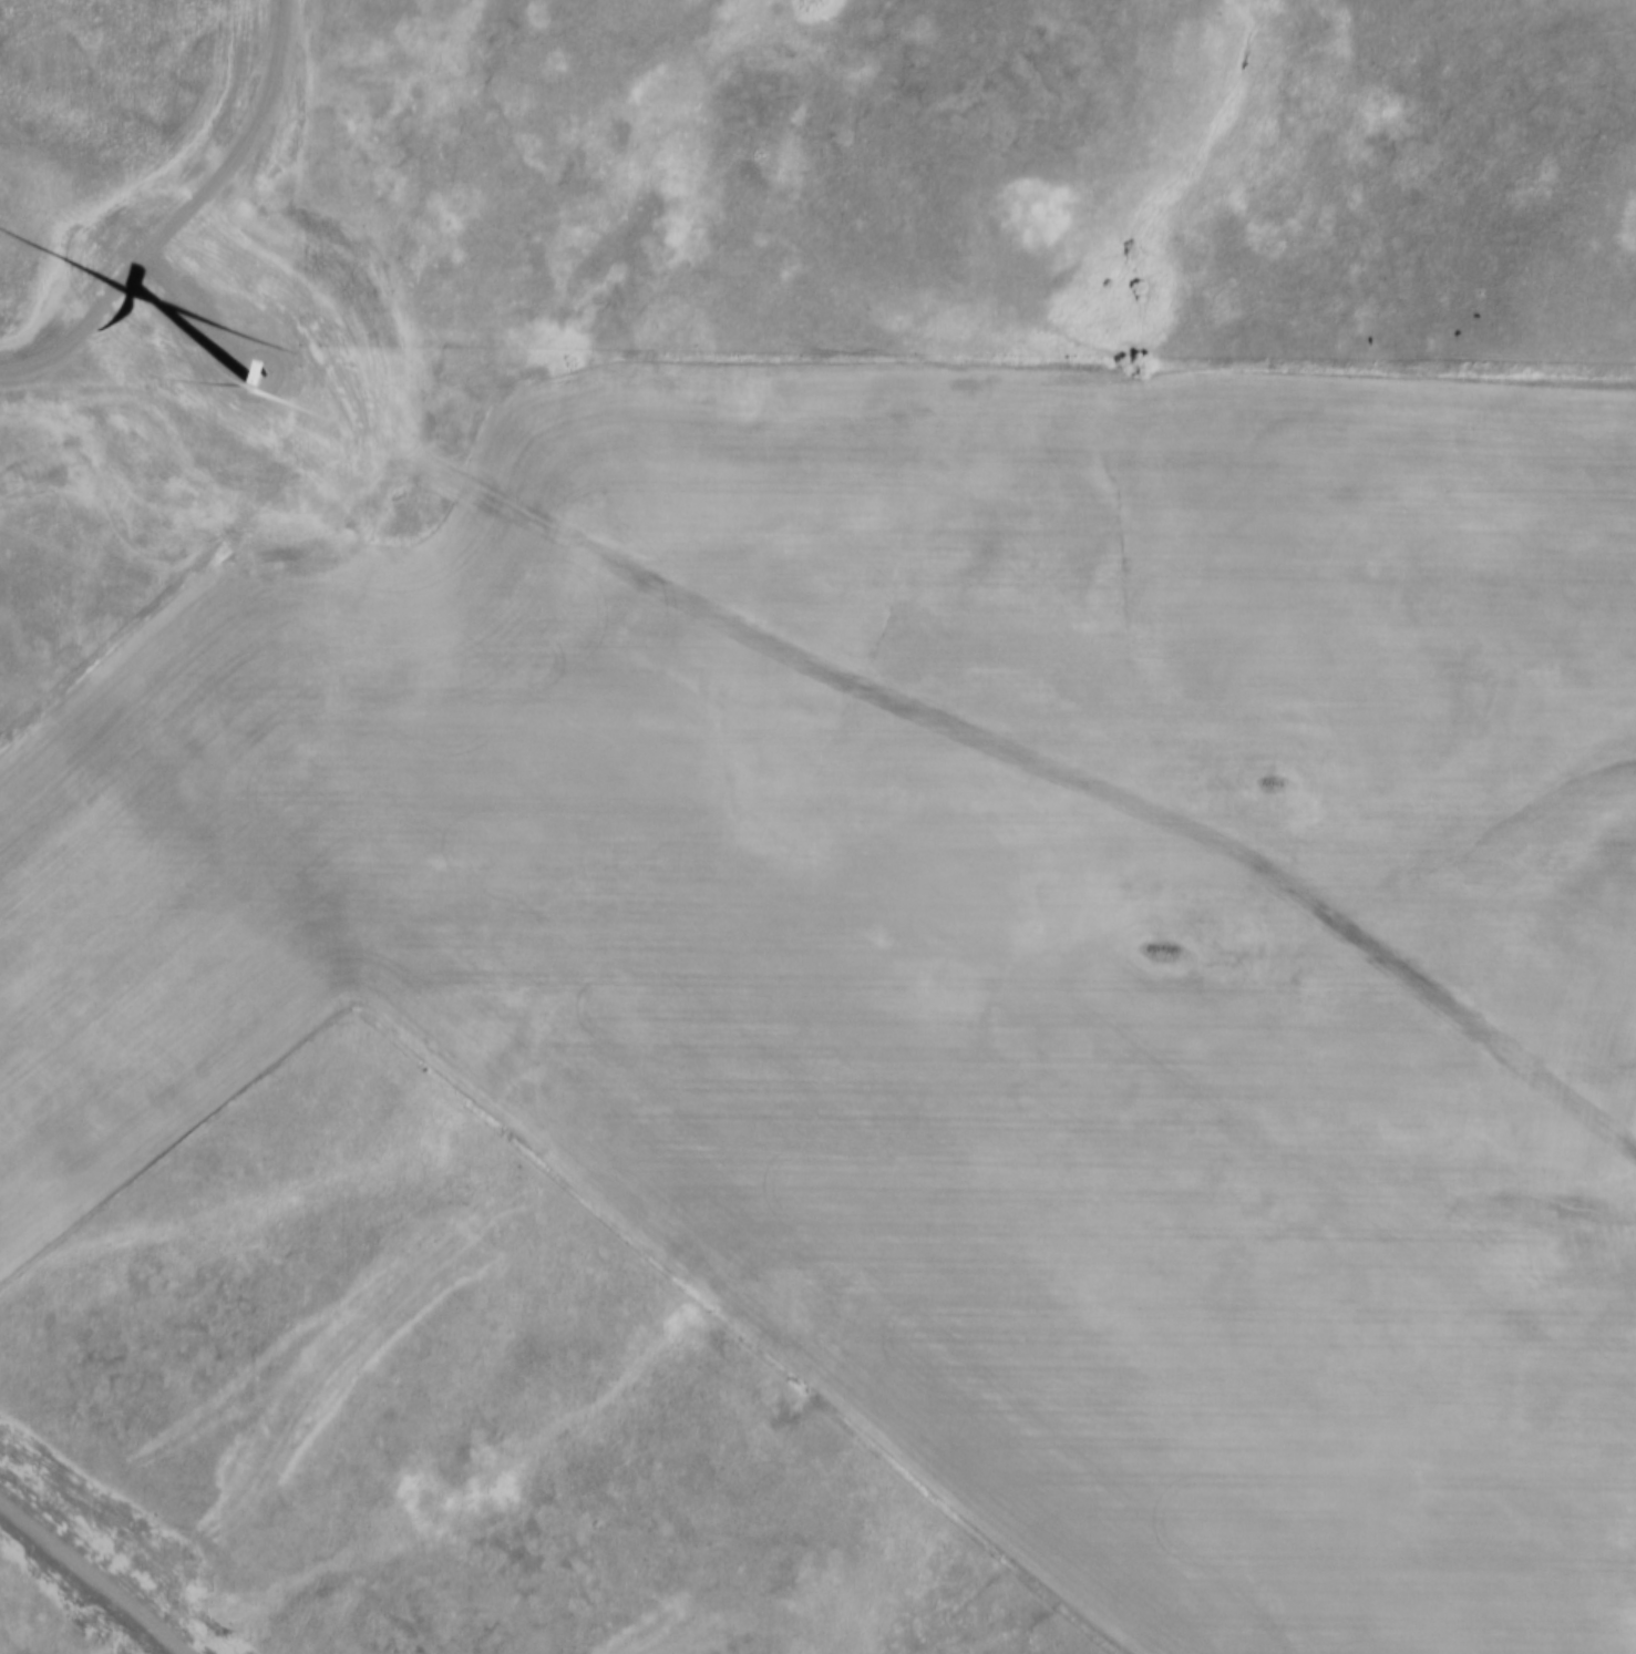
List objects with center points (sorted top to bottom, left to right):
road: (197, 209)
wind turbine: (240, 373)
road: (855, 737)
road: (103, 1561)

